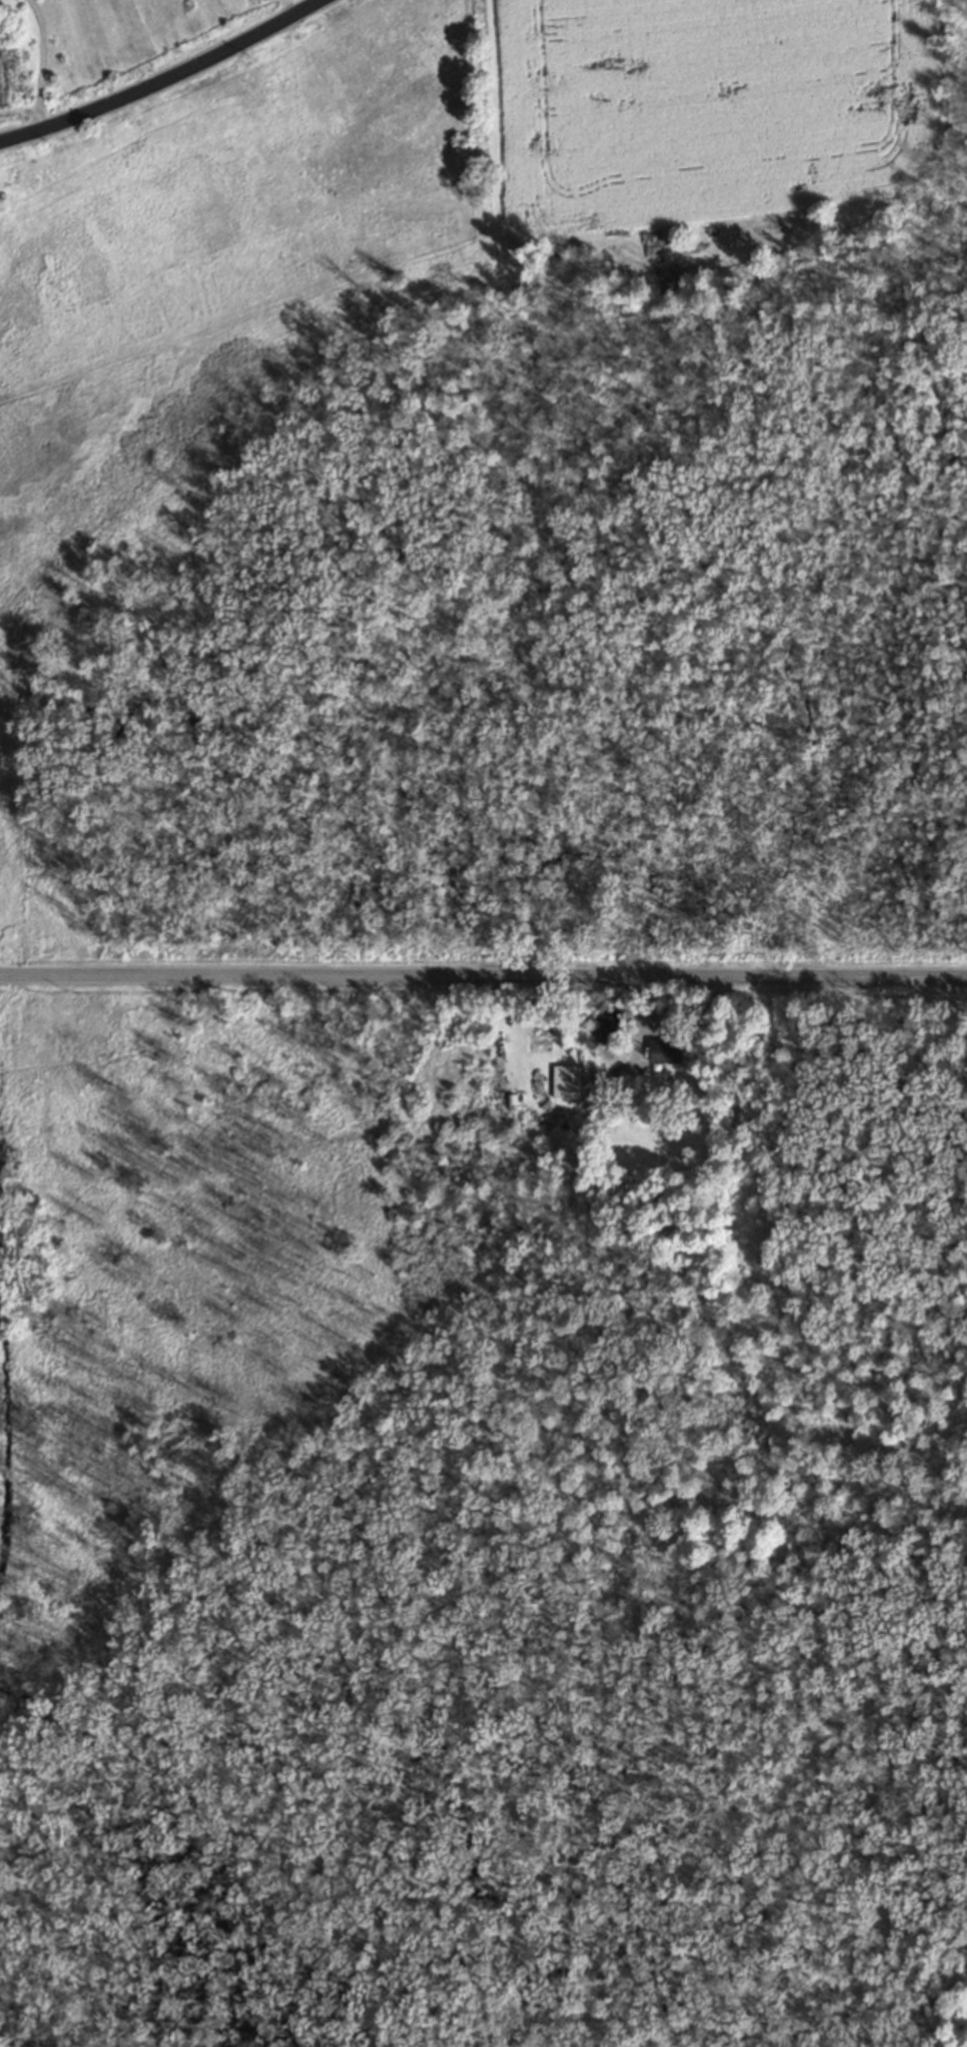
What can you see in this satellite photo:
road: (164, 79)
road: (483, 976)
building: (667, 1049)
building: (567, 1080)

